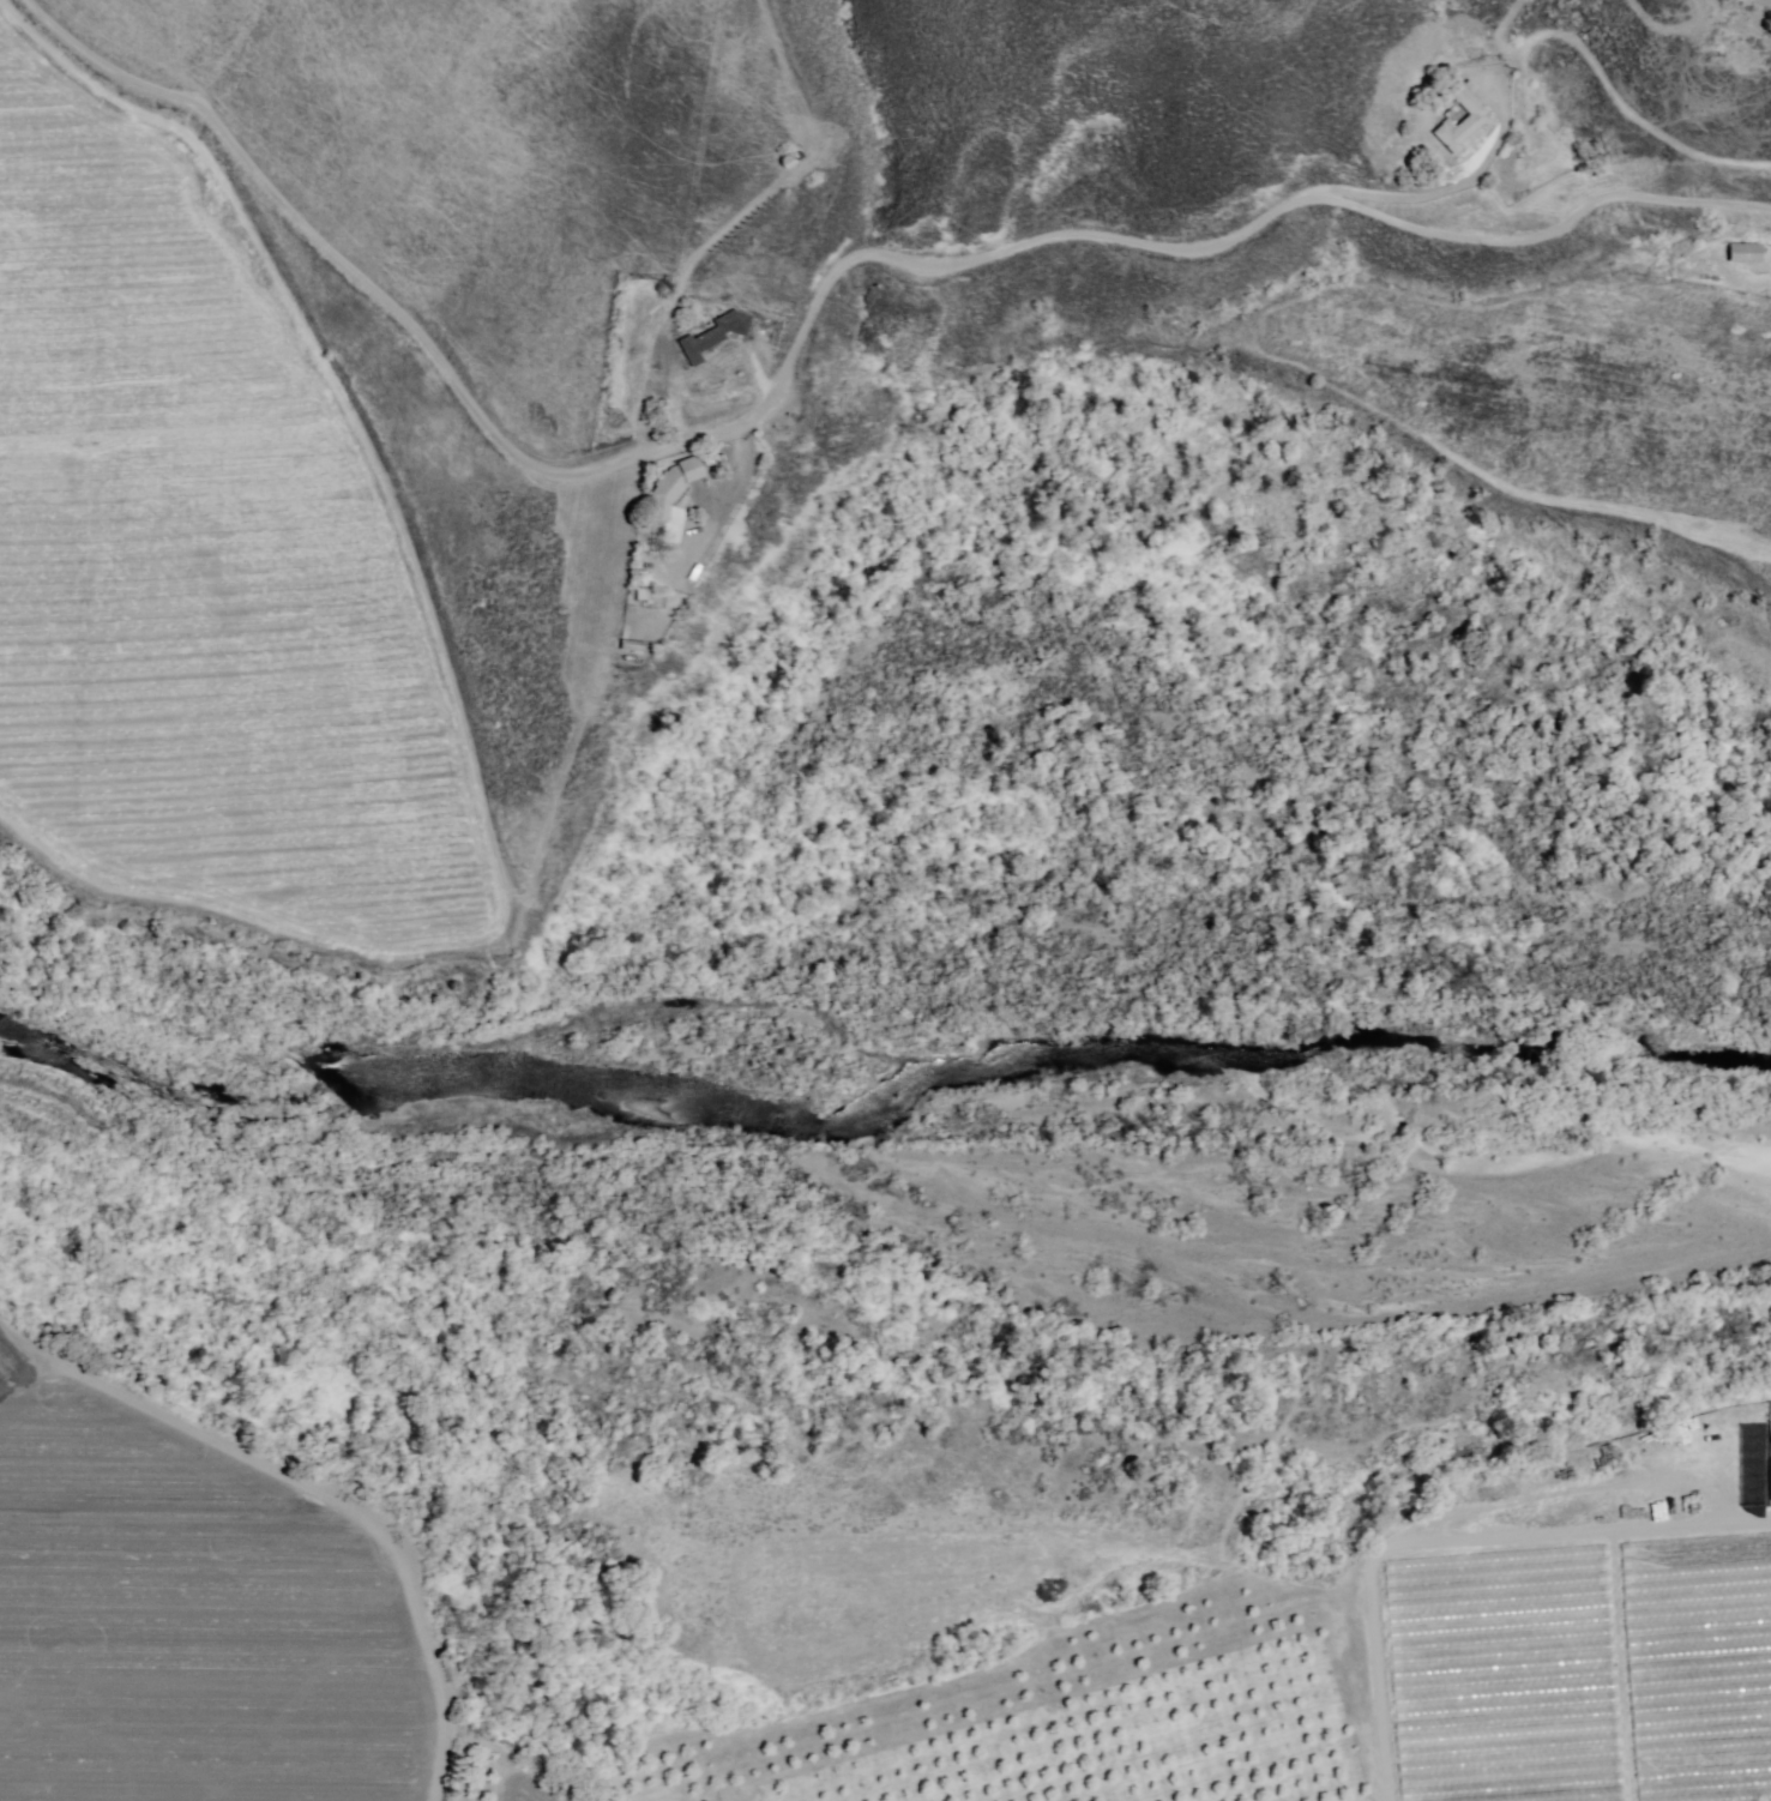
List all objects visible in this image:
building: (1459, 119)
building: (1743, 252)
road: (801, 333)
building: (711, 335)
crop: (1591, 384)
crop: (210, 538)
river: (877, 1100)
crop: (206, 1613)
crop: (1267, 1650)

